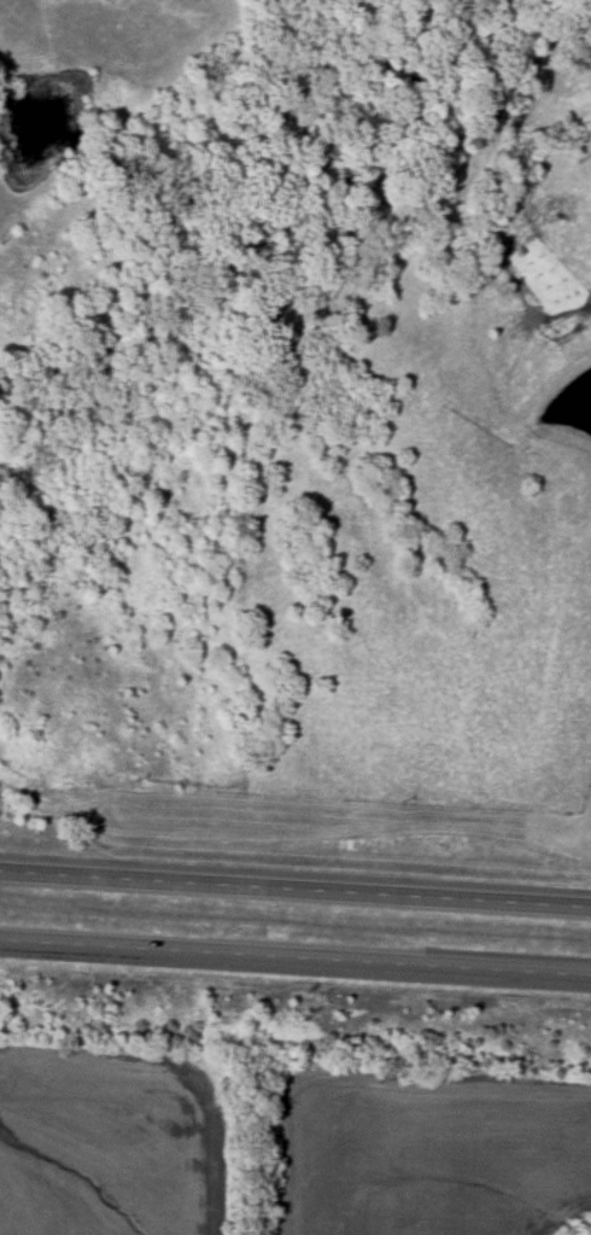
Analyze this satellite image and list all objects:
road: (294, 889)
road: (294, 965)
crop: (431, 1153)

